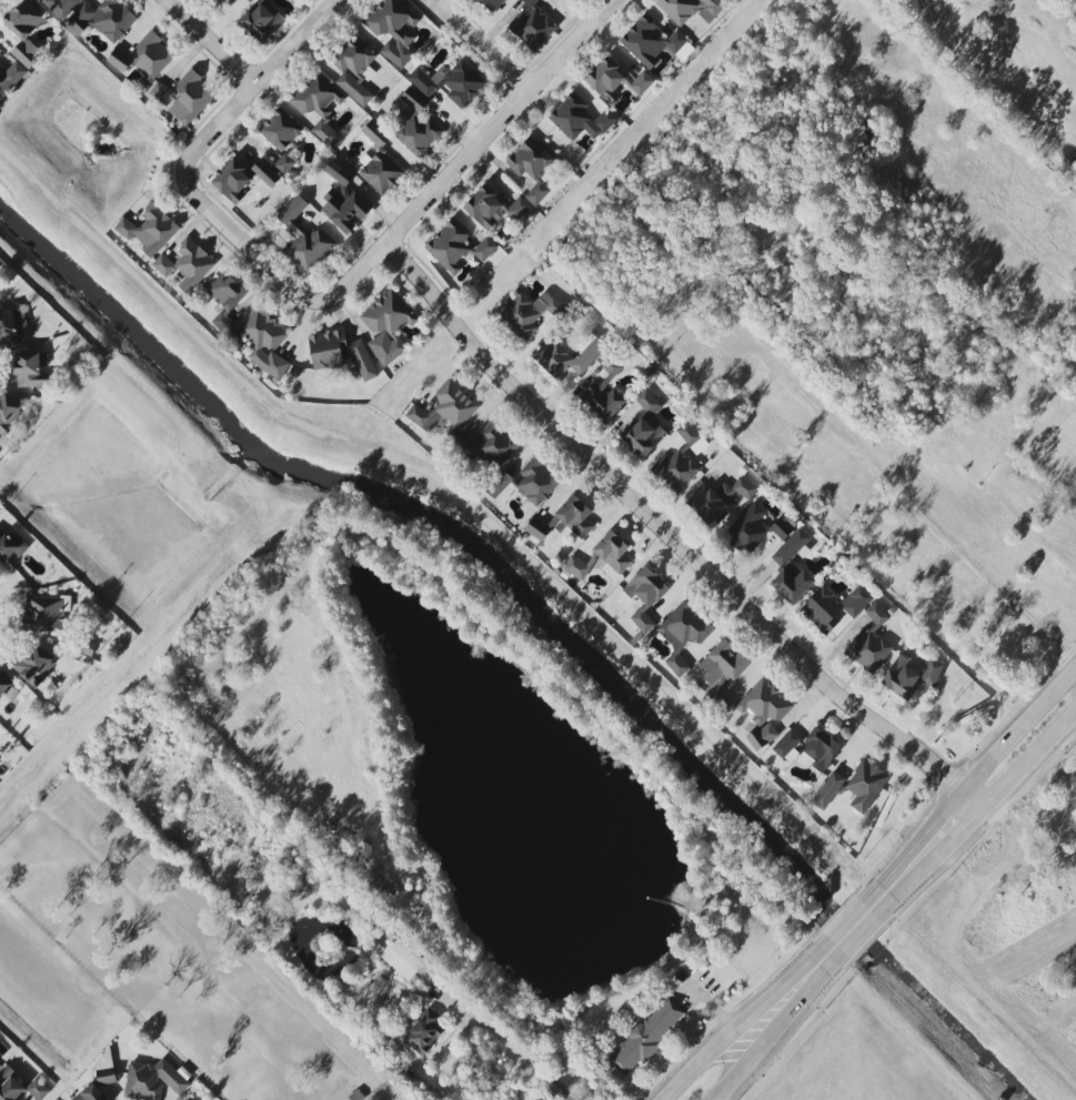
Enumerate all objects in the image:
building: (491, 4)
building: (61, 7)
building: (691, 9)
building: (102, 19)
building: (263, 21)
building: (532, 26)
building: (393, 30)
building: (24, 32)
road: (218, 42)
building: (650, 42)
road: (489, 47)
building: (151, 58)
building: (119, 60)
building: (353, 67)
building: (11, 78)
road: (264, 80)
building: (615, 80)
building: (450, 83)
building: (163, 94)
building: (190, 98)
building: (318, 103)
building: (580, 119)
building: (416, 125)
building: (280, 129)
road: (477, 155)
building: (284, 163)
building: (532, 168)
building: (240, 179)
building: (343, 201)
building: (483, 206)
building: (517, 208)
building: (149, 230)
building: (304, 240)
road: (244, 244)
building: (456, 246)
building: (185, 264)
building: (225, 300)
building: (530, 313)
building: (386, 325)
building: (12, 329)
building: (263, 341)
building: (340, 353)
building: (570, 355)
building: (31, 370)
building: (602, 400)
building: (445, 410)
building: (8, 413)
building: (644, 426)
building: (490, 446)
building: (676, 470)
building: (535, 481)
building: (499, 485)
road: (903, 491)
building: (722, 498)
building: (573, 517)
building: (782, 527)
building: (536, 529)
building: (746, 529)
road: (676, 539)
building: (11, 546)
building: (612, 555)
building: (575, 567)
building: (792, 568)
building: (645, 587)
building: (833, 606)
building: (43, 614)
building: (642, 620)
building: (682, 634)
building: (869, 643)
building: (34, 665)
building: (721, 672)
building: (932, 673)
building: (901, 677)
building: (4, 685)
building: (763, 713)
building: (786, 744)
building: (821, 748)
building: (865, 785)
road: (966, 785)
building: (827, 790)
road: (977, 816)
road: (844, 922)
road: (858, 938)
building: (402, 958)
road: (744, 1019)
road: (781, 1029)
building: (424, 1032)
building: (646, 1036)
road: (523, 1054)
building: (152, 1081)
building: (10, 1086)
building: (37, 1089)
building: (90, 1093)

